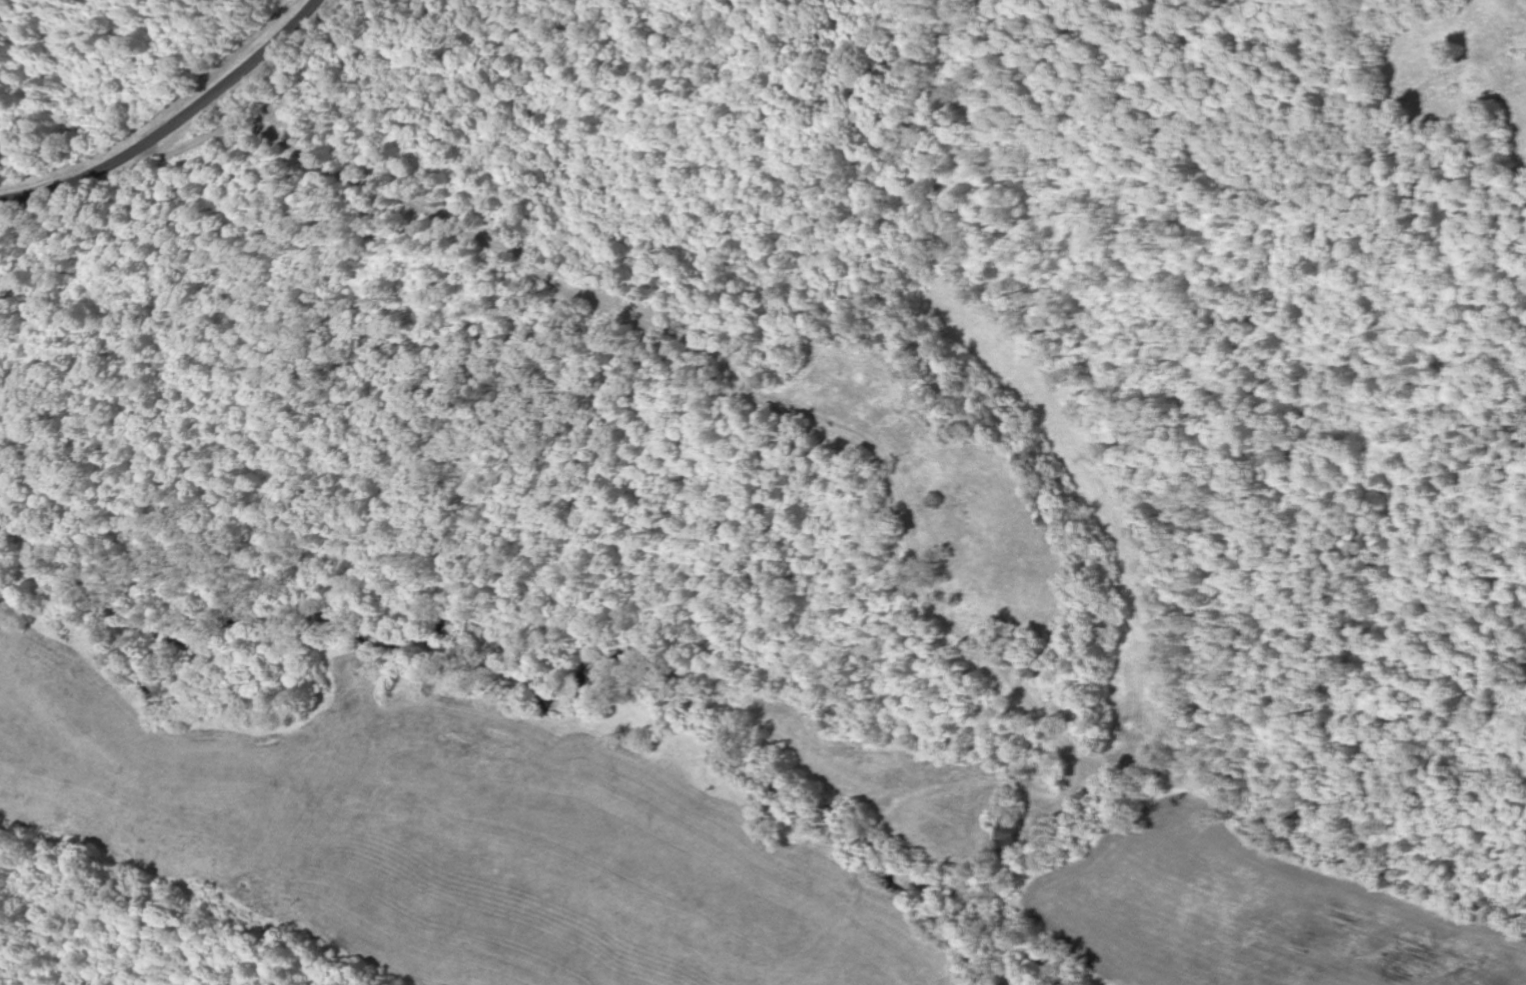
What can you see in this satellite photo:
road: (172, 124)
road: (715, 282)

